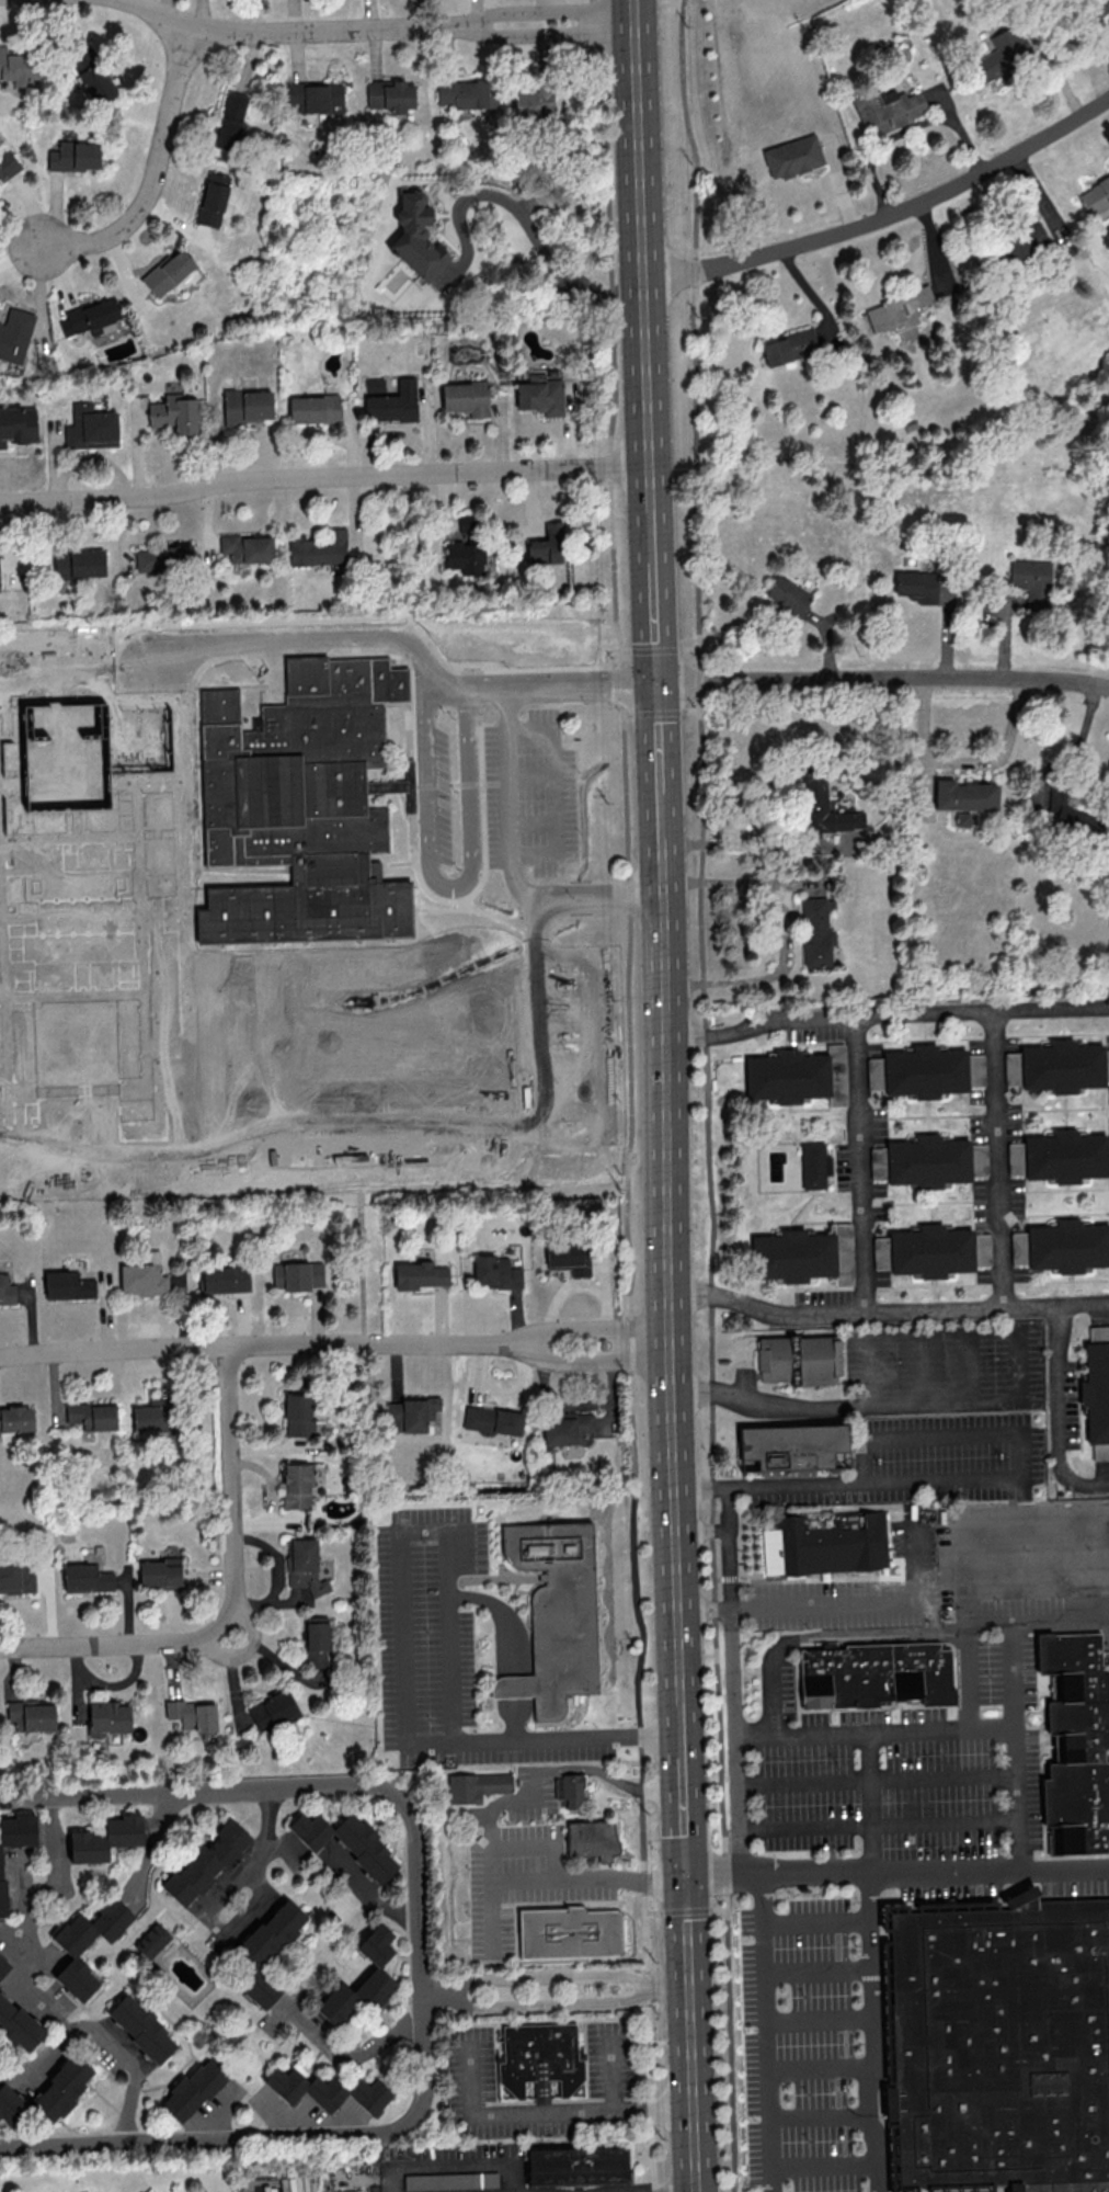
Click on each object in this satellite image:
road: (632, 2)
road: (525, 10)
road: (266, 33)
road: (526, 33)
road: (1108, 47)
building: (1001, 54)
building: (18, 67)
building: (90, 72)
building: (467, 93)
building: (390, 95)
building: (316, 96)
building: (533, 104)
building: (887, 107)
building: (230, 121)
road: (906, 130)
road: (638, 141)
building: (73, 156)
building: (792, 156)
building: (7, 163)
road: (151, 171)
building: (1095, 195)
building: (213, 198)
road: (885, 215)
building: (416, 237)
road: (544, 241)
building: (1019, 243)
building: (168, 271)
building: (896, 309)
building: (90, 317)
building: (789, 345)
road: (645, 371)
building: (540, 394)
building: (465, 397)
building: (393, 402)
building: (245, 406)
building: (313, 408)
building: (174, 412)
building: (16, 424)
building: (90, 428)
road: (323, 477)
road: (650, 489)
road: (651, 540)
building: (549, 544)
building: (247, 547)
building: (319, 548)
building: (464, 554)
building: (163, 557)
building: (78, 563)
building: (1031, 581)
building: (917, 586)
building: (788, 595)
road: (654, 623)
road: (308, 638)
road: (882, 678)
traffic signals: (656, 682)
road: (540, 686)
road: (658, 738)
road: (963, 764)
building: (52, 770)
road: (508, 779)
road: (554, 792)
building: (964, 795)
building: (825, 807)
building: (307, 814)
building: (1070, 816)
road: (659, 827)
road: (851, 847)
park: (122, 850)
road: (450, 887)
road: (581, 887)
road: (626, 894)
park: (121, 900)
road: (575, 905)
road: (784, 924)
building: (815, 931)
road: (885, 1017)
building: (1062, 1066)
building: (918, 1071)
building: (798, 1076)
road: (709, 1094)
road: (663, 1112)
road: (572, 1139)
building: (1060, 1156)
road: (998, 1162)
building: (814, 1165)
road: (859, 1168)
building: (1061, 1246)
building: (981, 1249)
building: (924, 1251)
building: (793, 1254)
building: (569, 1258)
building: (495, 1272)
building: (421, 1274)
building: (144, 1275)
building: (298, 1275)
building: (226, 1279)
building: (7, 1285)
building: (68, 1285)
road: (885, 1315)
road: (586, 1326)
road: (369, 1344)
road: (114, 1350)
road: (586, 1361)
building: (799, 1361)
road: (1020, 1363)
road: (963, 1364)
road: (921, 1365)
road: (870, 1367)
building: (1096, 1397)
road: (844, 1405)
building: (412, 1411)
parking lot: (957, 1412)
building: (298, 1413)
road: (1059, 1413)
building: (92, 1415)
building: (155, 1416)
building: (16, 1418)
building: (492, 1420)
building: (567, 1427)
road: (942, 1433)
building: (794, 1446)
building: (298, 1485)
road: (1066, 1523)
road: (1008, 1525)
road: (701, 1529)
building: (832, 1543)
road: (915, 1546)
road: (675, 1549)
building: (304, 1565)
road: (1036, 1570)
building: (160, 1571)
parking lot: (969, 1572)
building: (15, 1577)
building: (85, 1578)
road: (233, 1598)
road: (861, 1602)
road: (705, 1608)
building: (558, 1616)
road: (503, 1617)
road: (1037, 1621)
road: (402, 1636)
road: (823, 1636)
building: (316, 1642)
road: (244, 1648)
road: (733, 1654)
building: (877, 1676)
road: (1011, 1676)
road: (514, 1688)
building: (272, 1711)
building: (30, 1714)
building: (192, 1714)
building: (107, 1717)
road: (515, 1719)
road: (453, 1728)
road: (801, 1734)
road: (661, 1737)
building: (1077, 1744)
road: (591, 1769)
parking lot: (912, 1771)
road: (1016, 1778)
road: (877, 1779)
building: (478, 1787)
road: (663, 1788)
building: (571, 1790)
road: (866, 1803)
road: (684, 1805)
road: (879, 1826)
road: (264, 1829)
building: (16, 1830)
building: (105, 1838)
building: (346, 1841)
building: (593, 1841)
road: (524, 1844)
building: (206, 1861)
road: (987, 1871)
road: (776, 1873)
traffic signals: (687, 1875)
road: (54, 1878)
road: (517, 1878)
building: (1, 1881)
road: (366, 1892)
road: (685, 1911)
road: (490, 1918)
road: (814, 1922)
road: (227, 1929)
road: (688, 1931)
building: (571, 1933)
road: (643, 1939)
building: (151, 1940)
building: (72, 1950)
building: (266, 1950)
building: (3, 1965)
road: (419, 1965)
road: (815, 1973)
road: (554, 1978)
building: (362, 1980)
road: (554, 2003)
road: (299, 2015)
road: (58, 2018)
road: (818, 2020)
building: (18, 2025)
building: (140, 2028)
road: (765, 2032)
road: (871, 2032)
parking lot: (802, 2045)
building: (1005, 2046)
building: (540, 2059)
road: (130, 2060)
road: (820, 2067)
road: (616, 2070)
building: (60, 2089)
building: (193, 2089)
building: (327, 2090)
road: (693, 2090)
building: (10, 2105)
road: (548, 2112)
road: (651, 2117)
road: (821, 2117)
road: (451, 2163)
building: (578, 2167)
road: (823, 2167)
building: (450, 2180)
road: (667, 2190)

